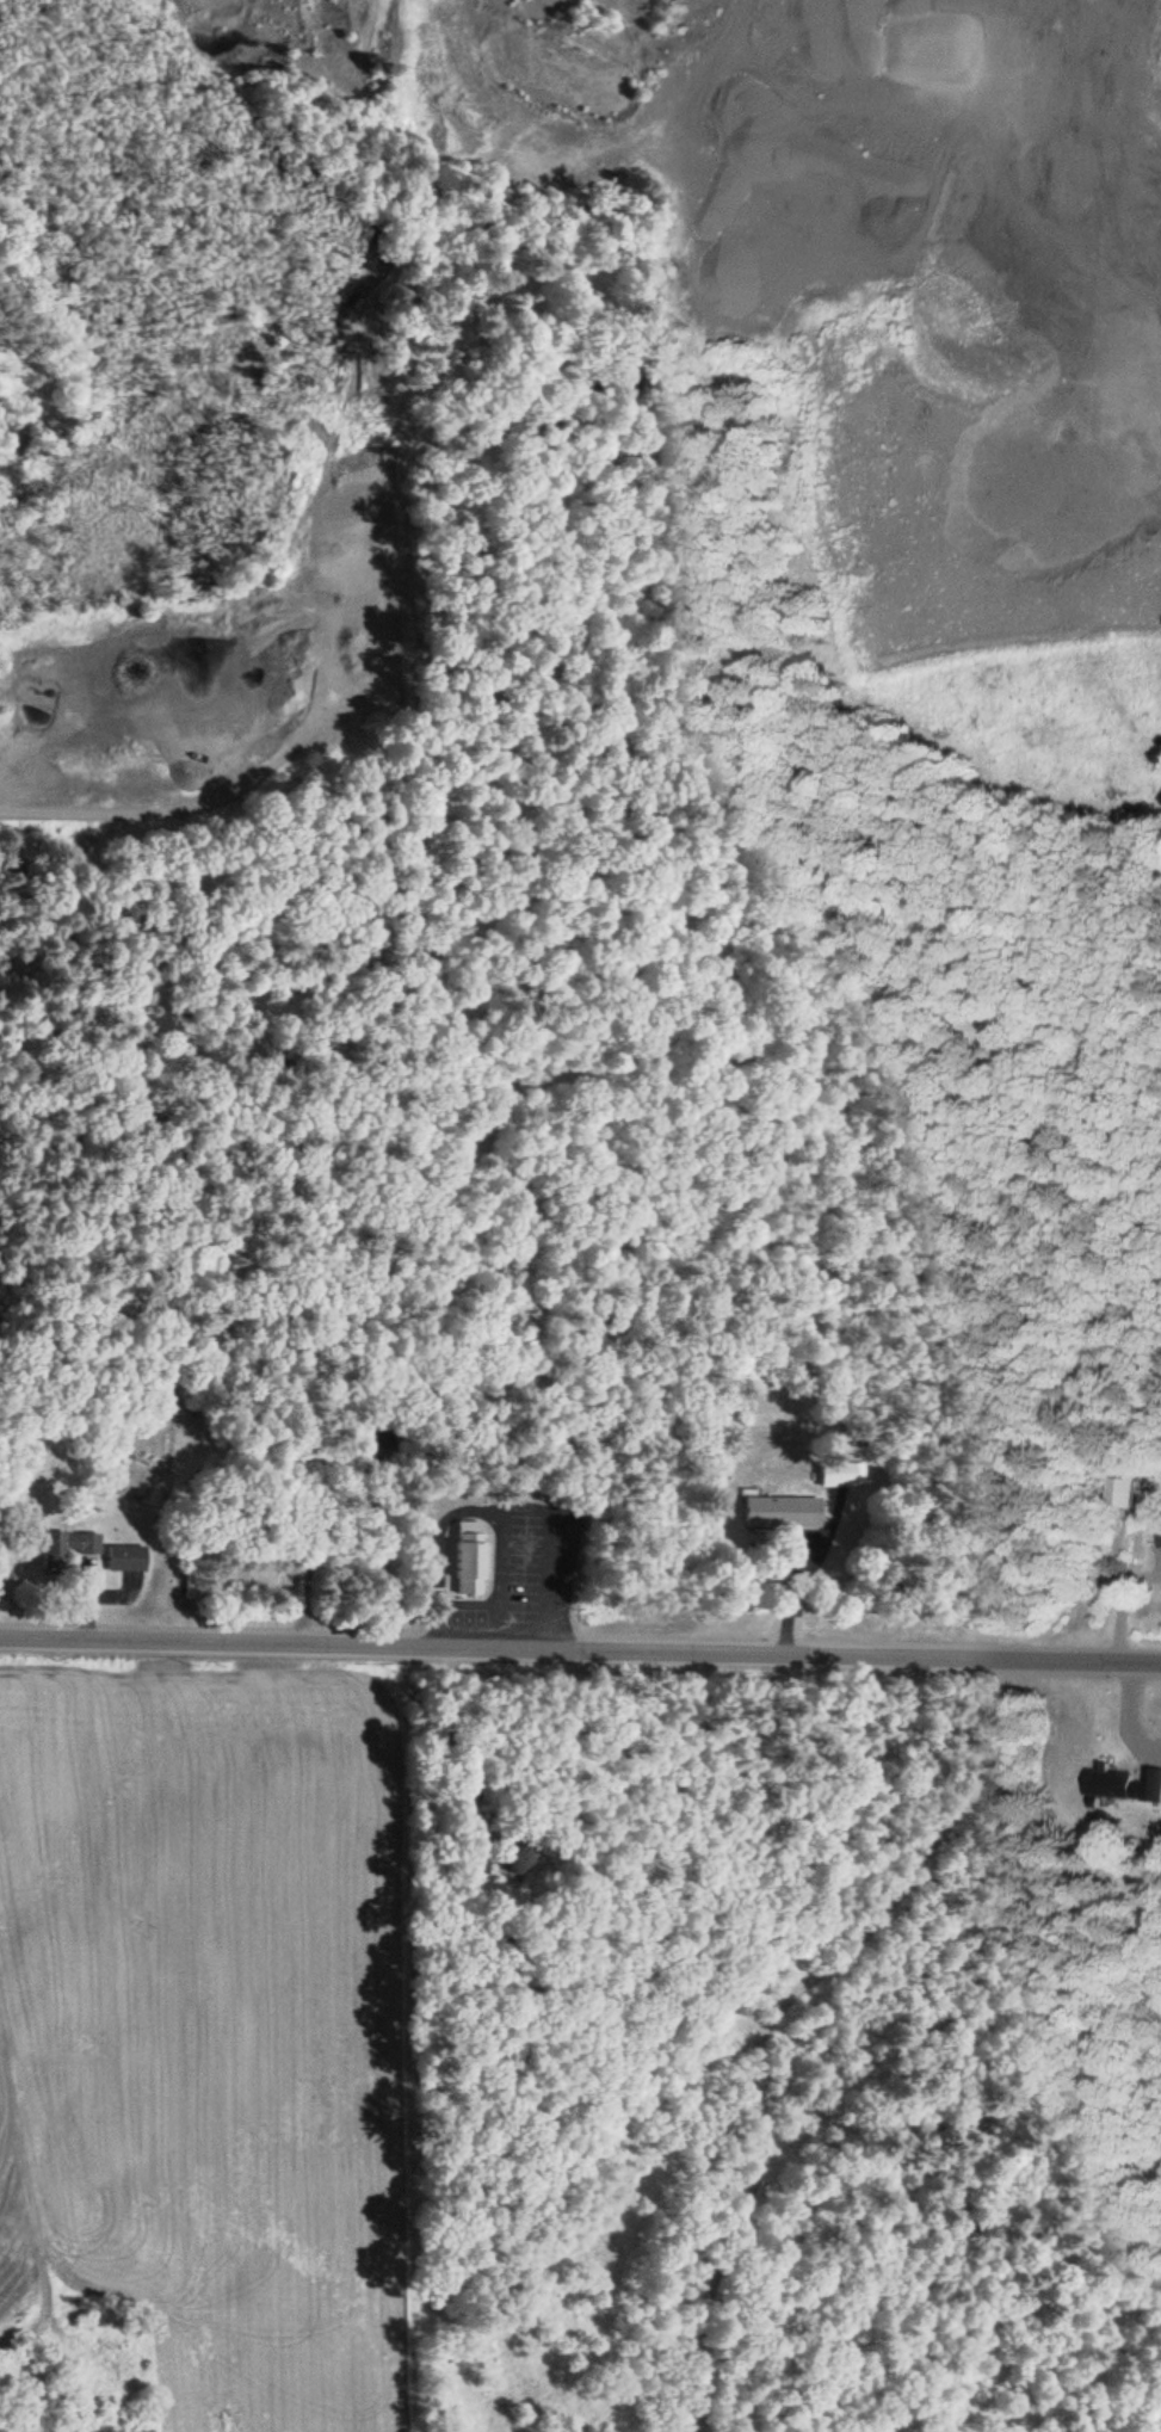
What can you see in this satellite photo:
road: (38, 815)
building: (375, 1427)
building: (839, 1474)
building: (1123, 1492)
road: (495, 1512)
building: (785, 1512)
building: (69, 1547)
building: (464, 1555)
building: (126, 1558)
parking lot: (520, 1581)
road: (580, 1653)
building: (1101, 1780)
building: (519, 1858)
road: (777, 2016)
road: (6, 2121)

